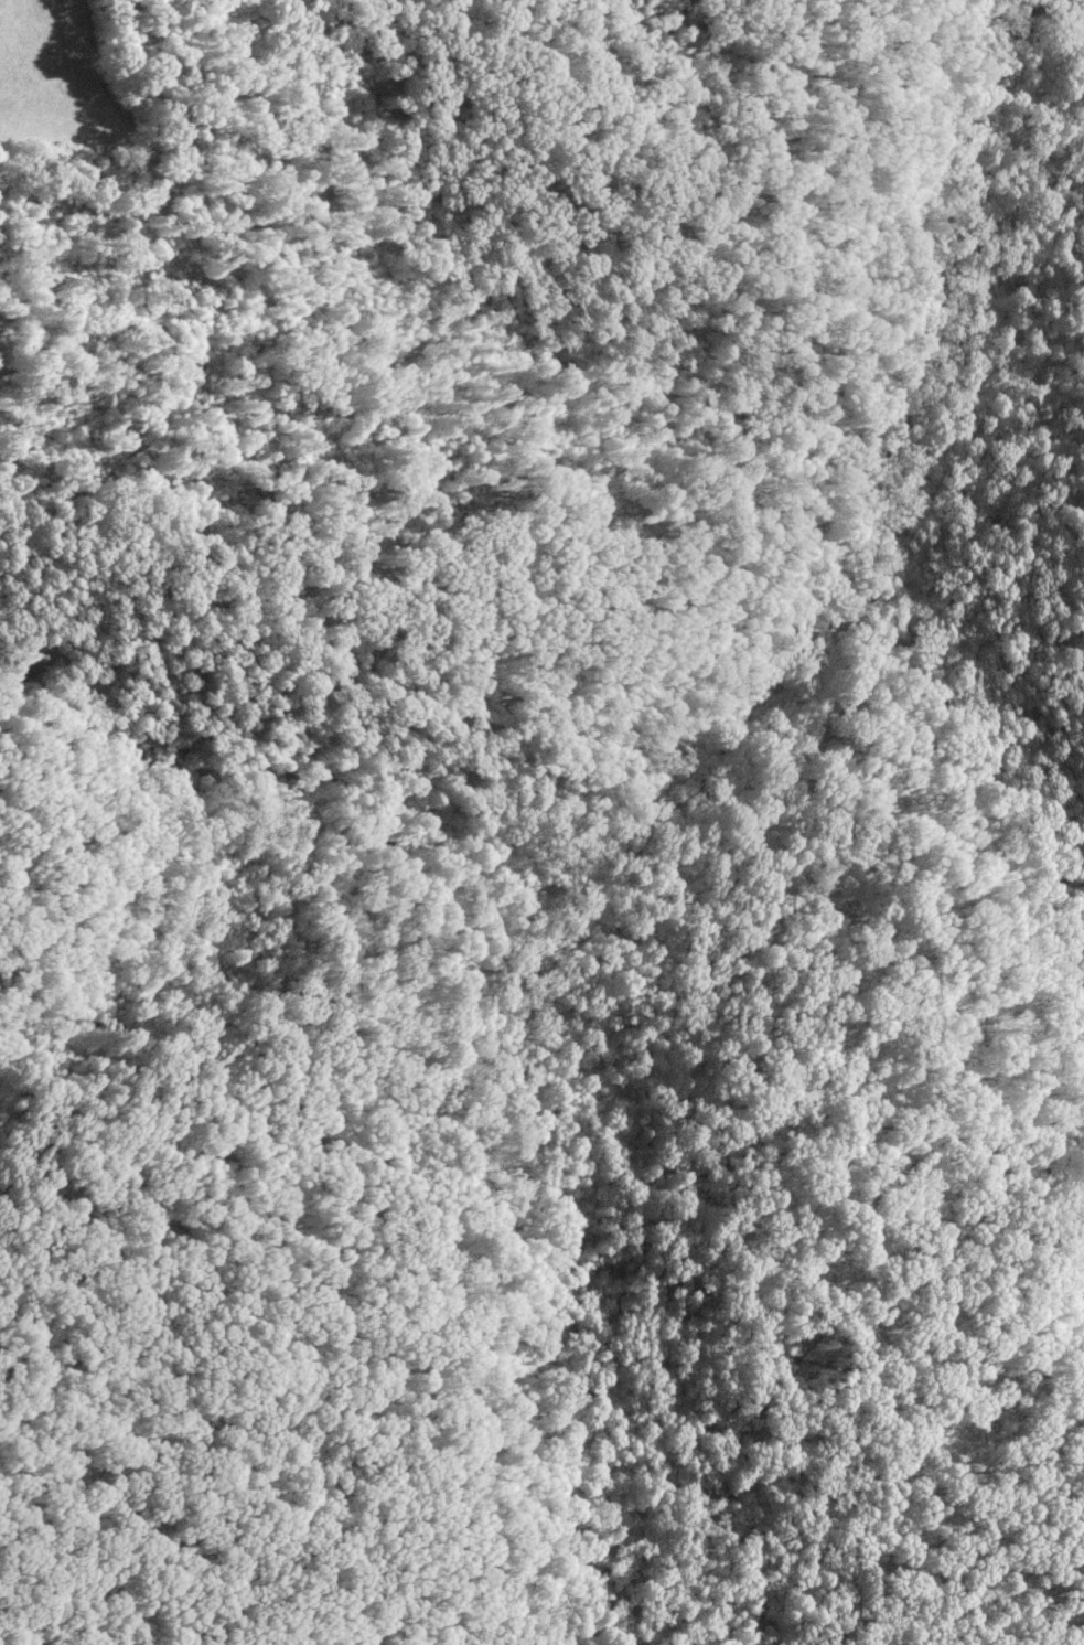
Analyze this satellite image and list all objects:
road: (745, 818)

